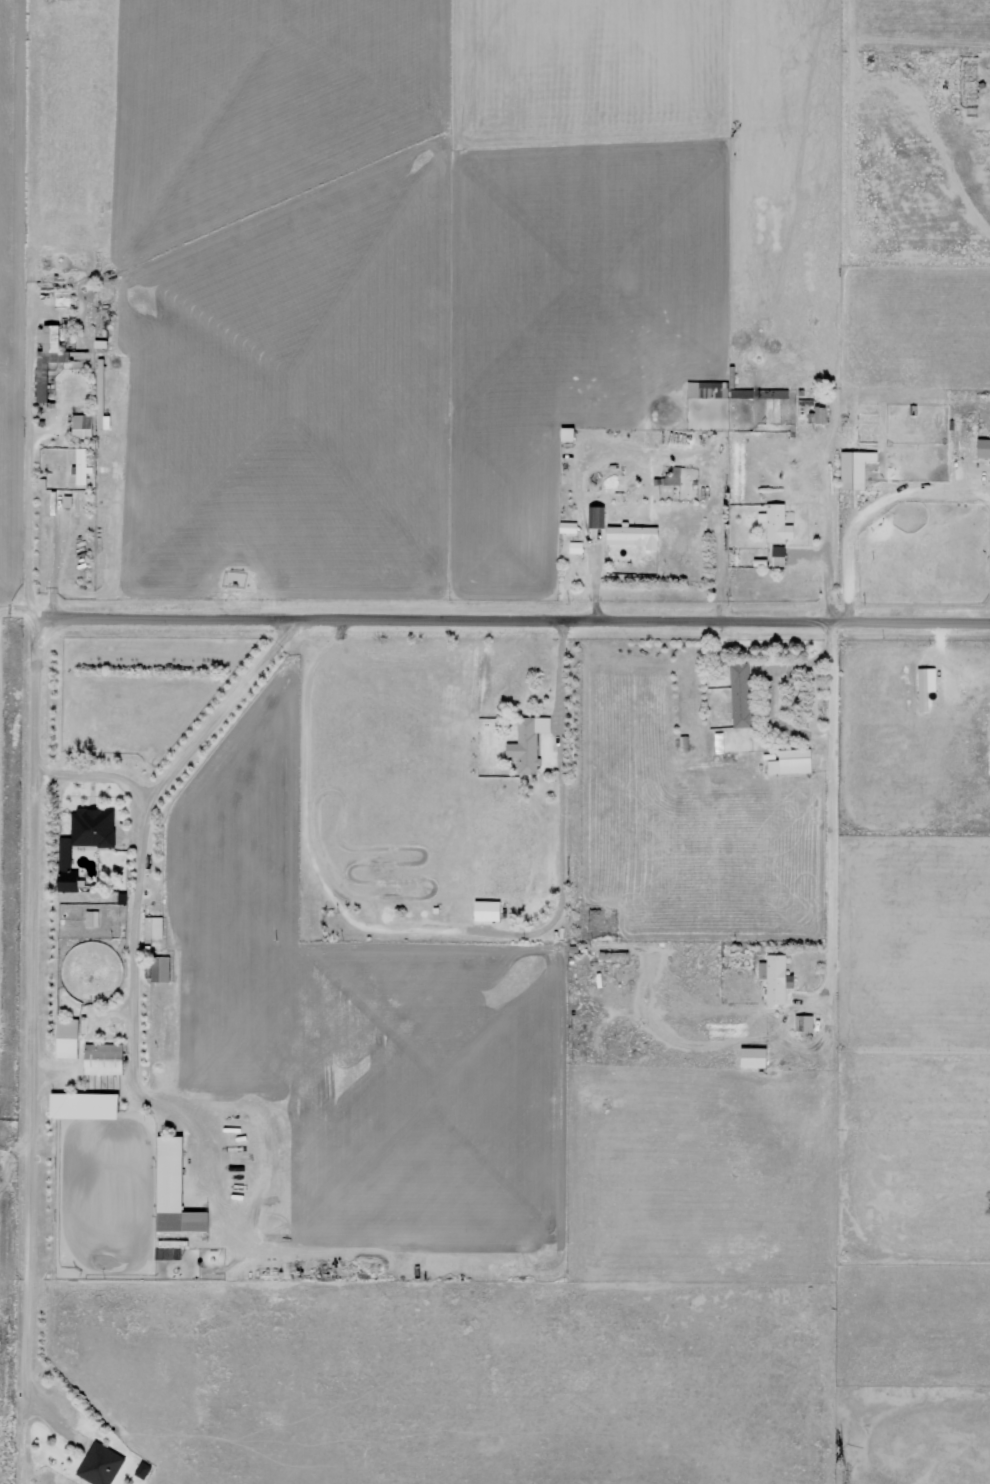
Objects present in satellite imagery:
building: (48, 357)
building: (708, 388)
building: (103, 418)
building: (83, 425)
building: (569, 433)
building: (984, 447)
building: (82, 464)
building: (856, 468)
building: (672, 475)
building: (597, 516)
building: (777, 522)
building: (569, 526)
building: (635, 535)
building: (575, 547)
building: (779, 555)
road: (512, 617)
building: (741, 694)
building: (925, 697)
building: (529, 742)
building: (793, 761)
road: (93, 775)
building: (85, 841)
building: (489, 910)
building: (91, 918)
building: (152, 926)
road: (131, 932)
building: (160, 968)
building: (777, 977)
building: (805, 1022)
building: (68, 1037)
road: (29, 1051)
building: (756, 1057)
building: (104, 1058)
building: (86, 1105)
building: (175, 1189)
building: (100, 1464)

